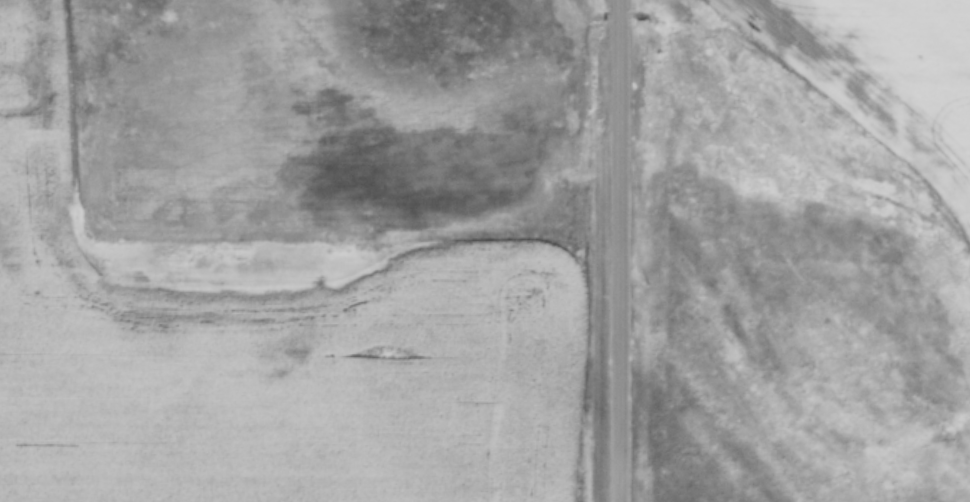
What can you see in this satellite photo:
road: (621, 251)

